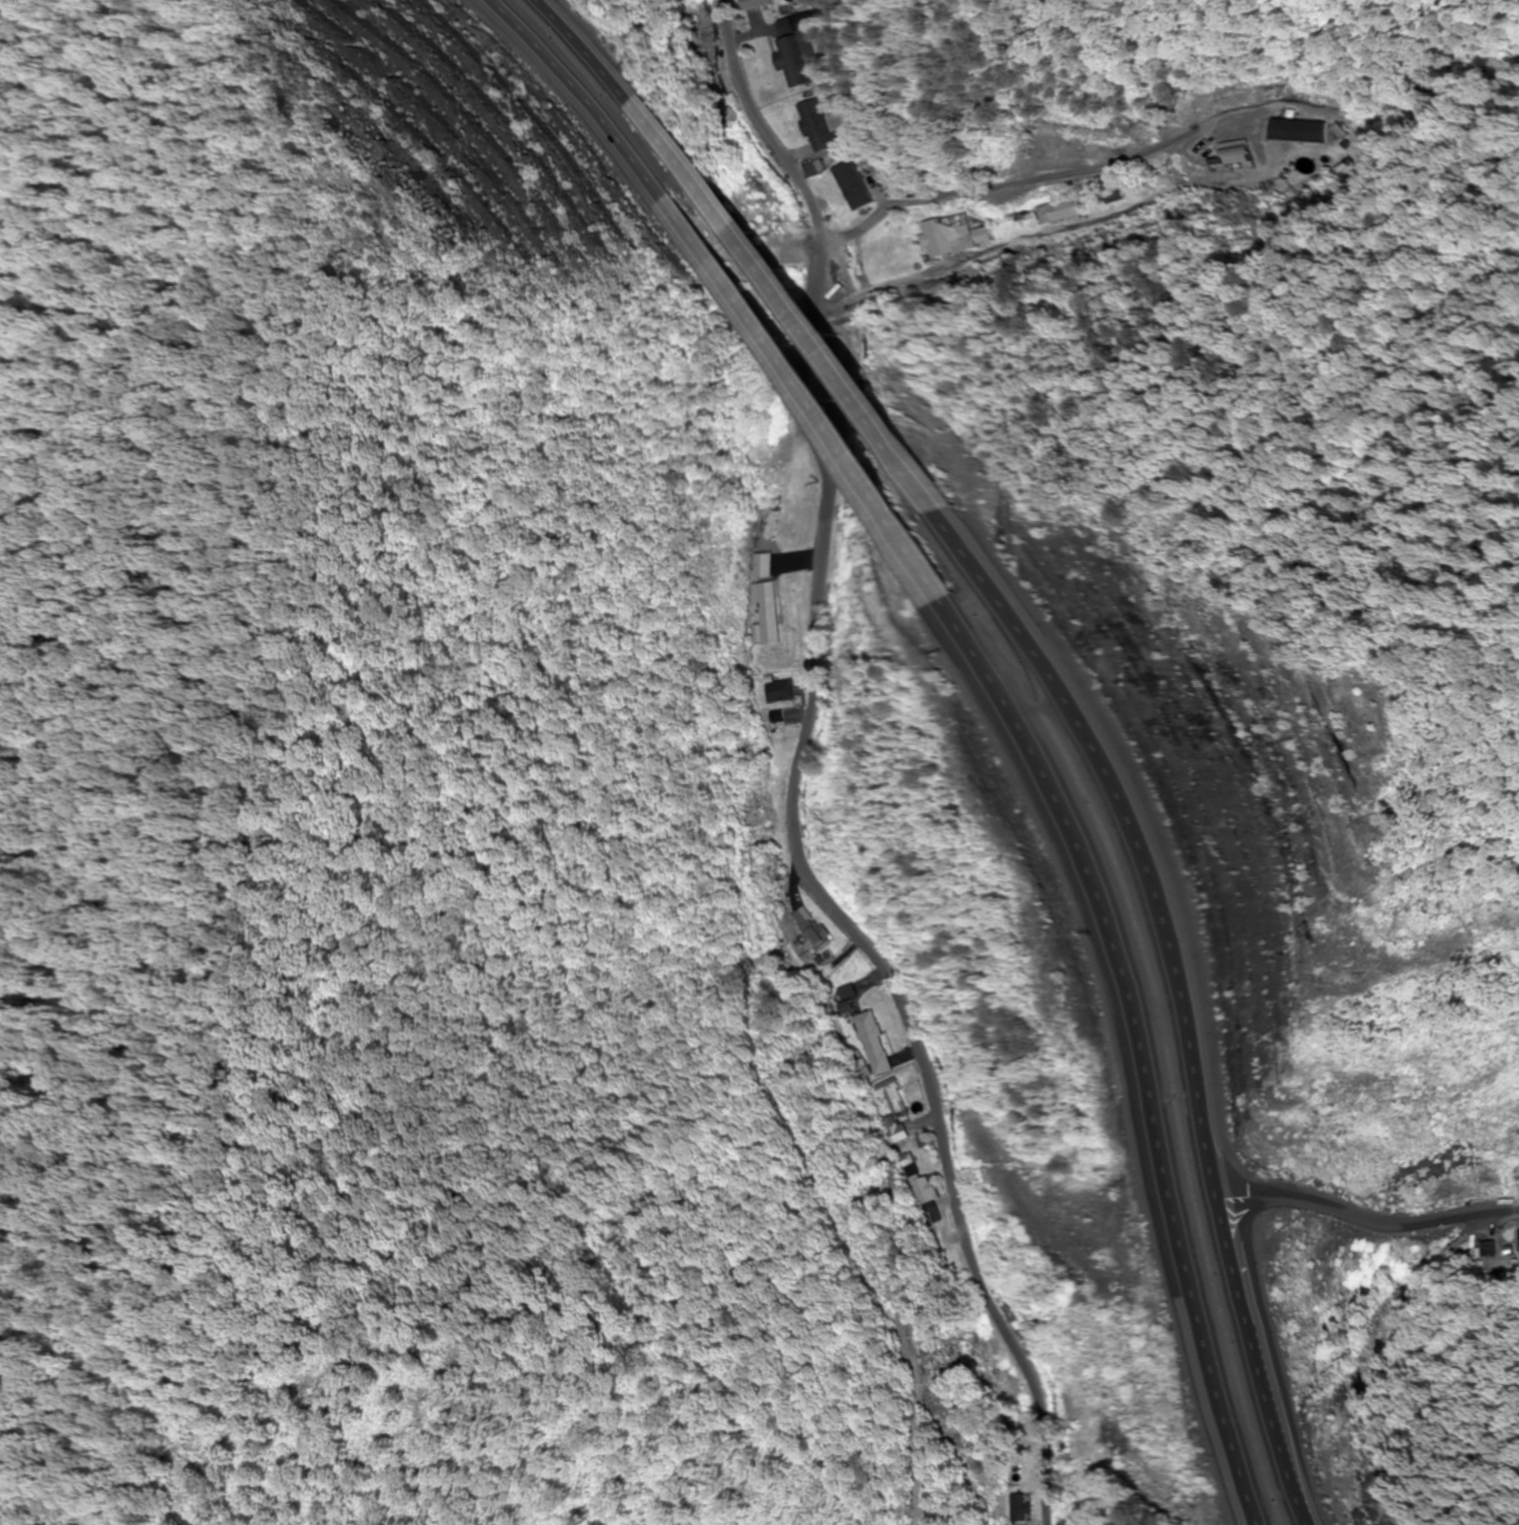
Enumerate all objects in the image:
road: (581, 51)
building: (799, 54)
road: (572, 99)
building: (821, 129)
building: (1289, 150)
building: (1238, 153)
building: (858, 186)
building: (1138, 189)
building: (1054, 212)
building: (954, 236)
road: (793, 304)
road: (812, 395)
building: (764, 568)
building: (768, 614)
building: (783, 692)
building: (777, 718)
road: (799, 777)
building: (848, 992)
road: (1152, 1007)
building: (874, 1043)
road: (1120, 1054)
building: (893, 1097)
building: (896, 1131)
building: (925, 1141)
road: (1212, 1176)
building: (929, 1200)
road: (1400, 1218)
building: (1518, 1236)
road: (1232, 1281)
building: (1097, 1366)
building: (1018, 1509)

